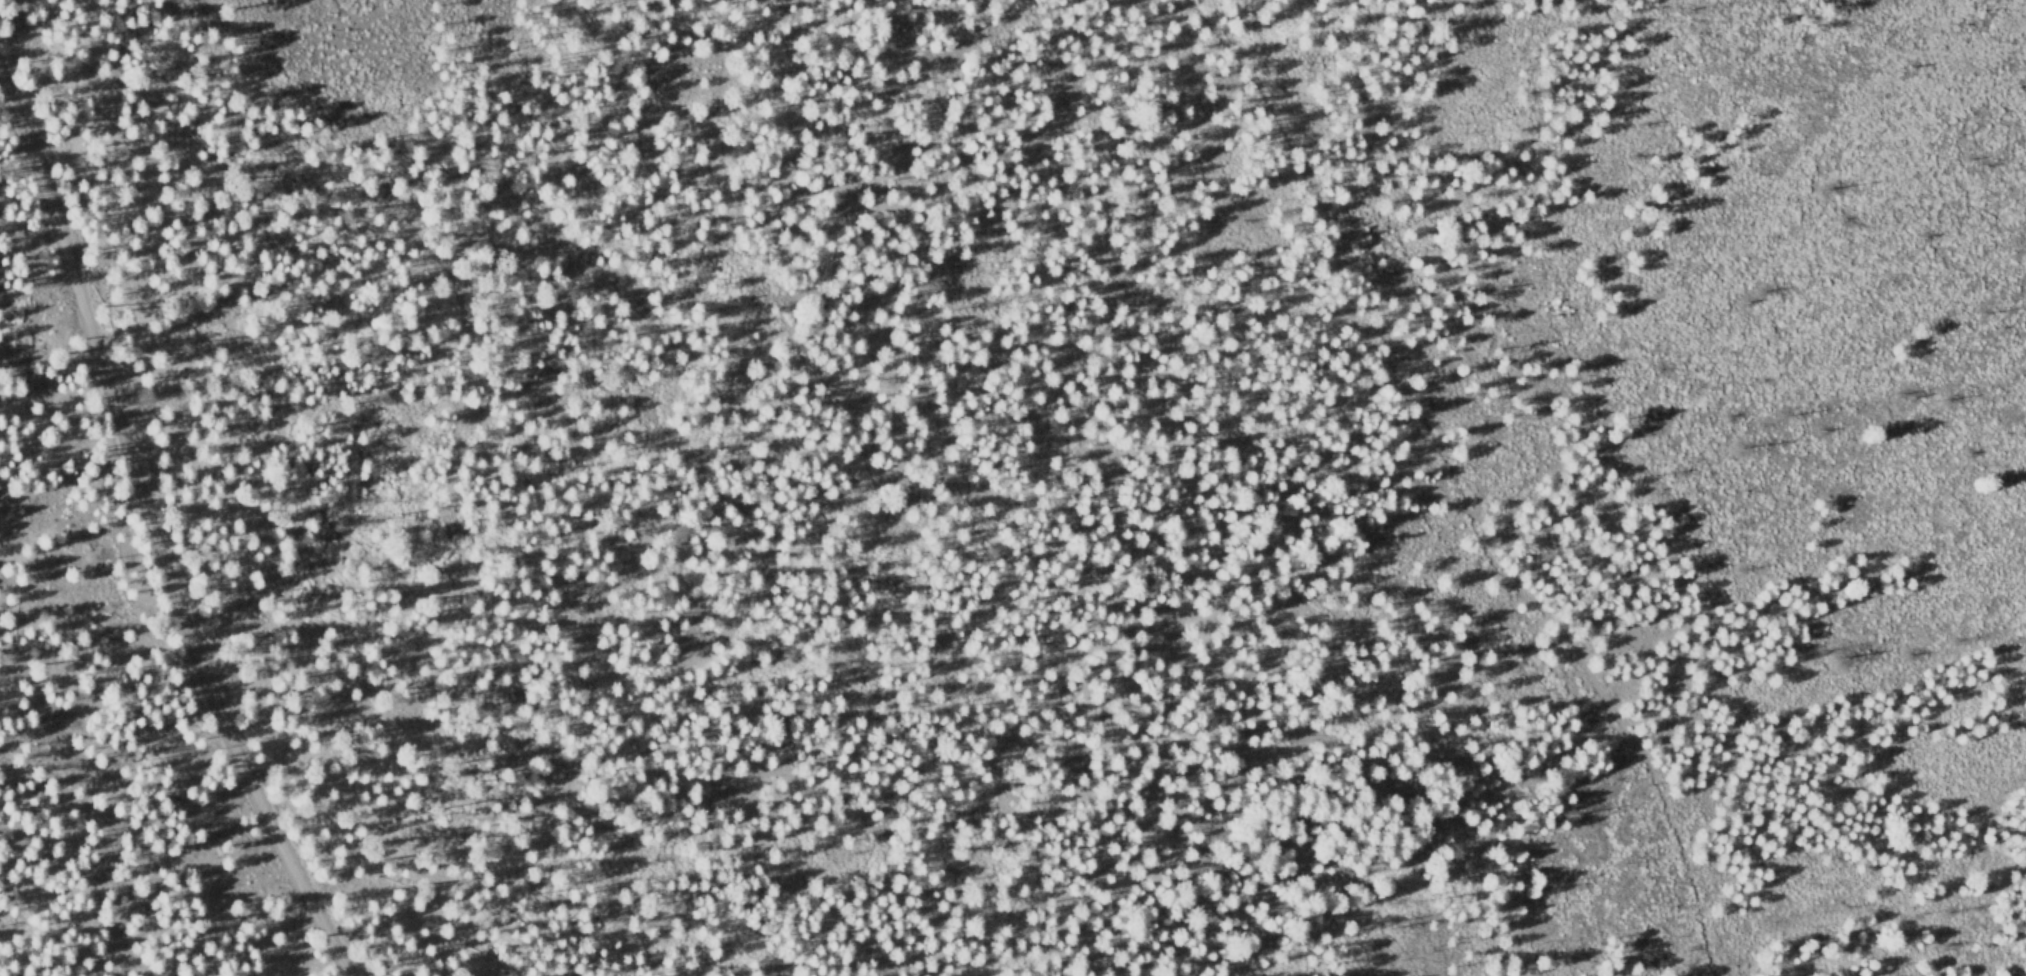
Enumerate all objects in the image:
road: (141, 525)

